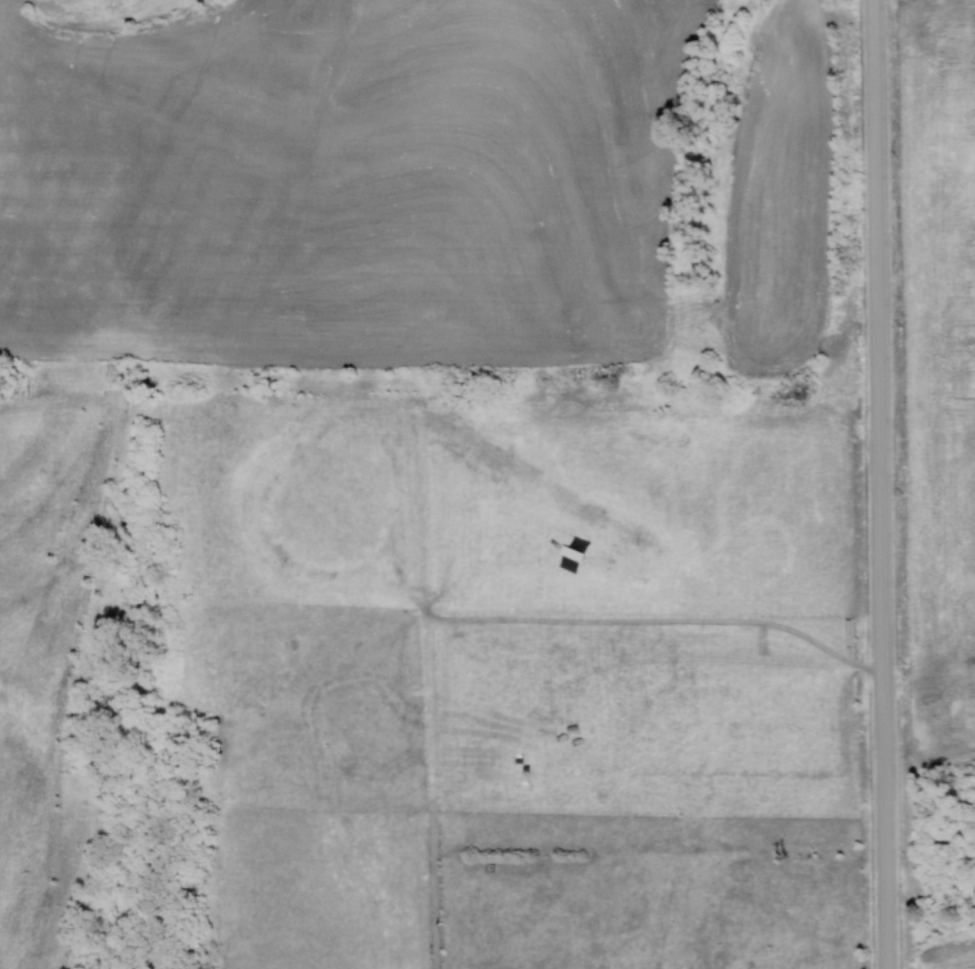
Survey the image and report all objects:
road: (880, 484)

